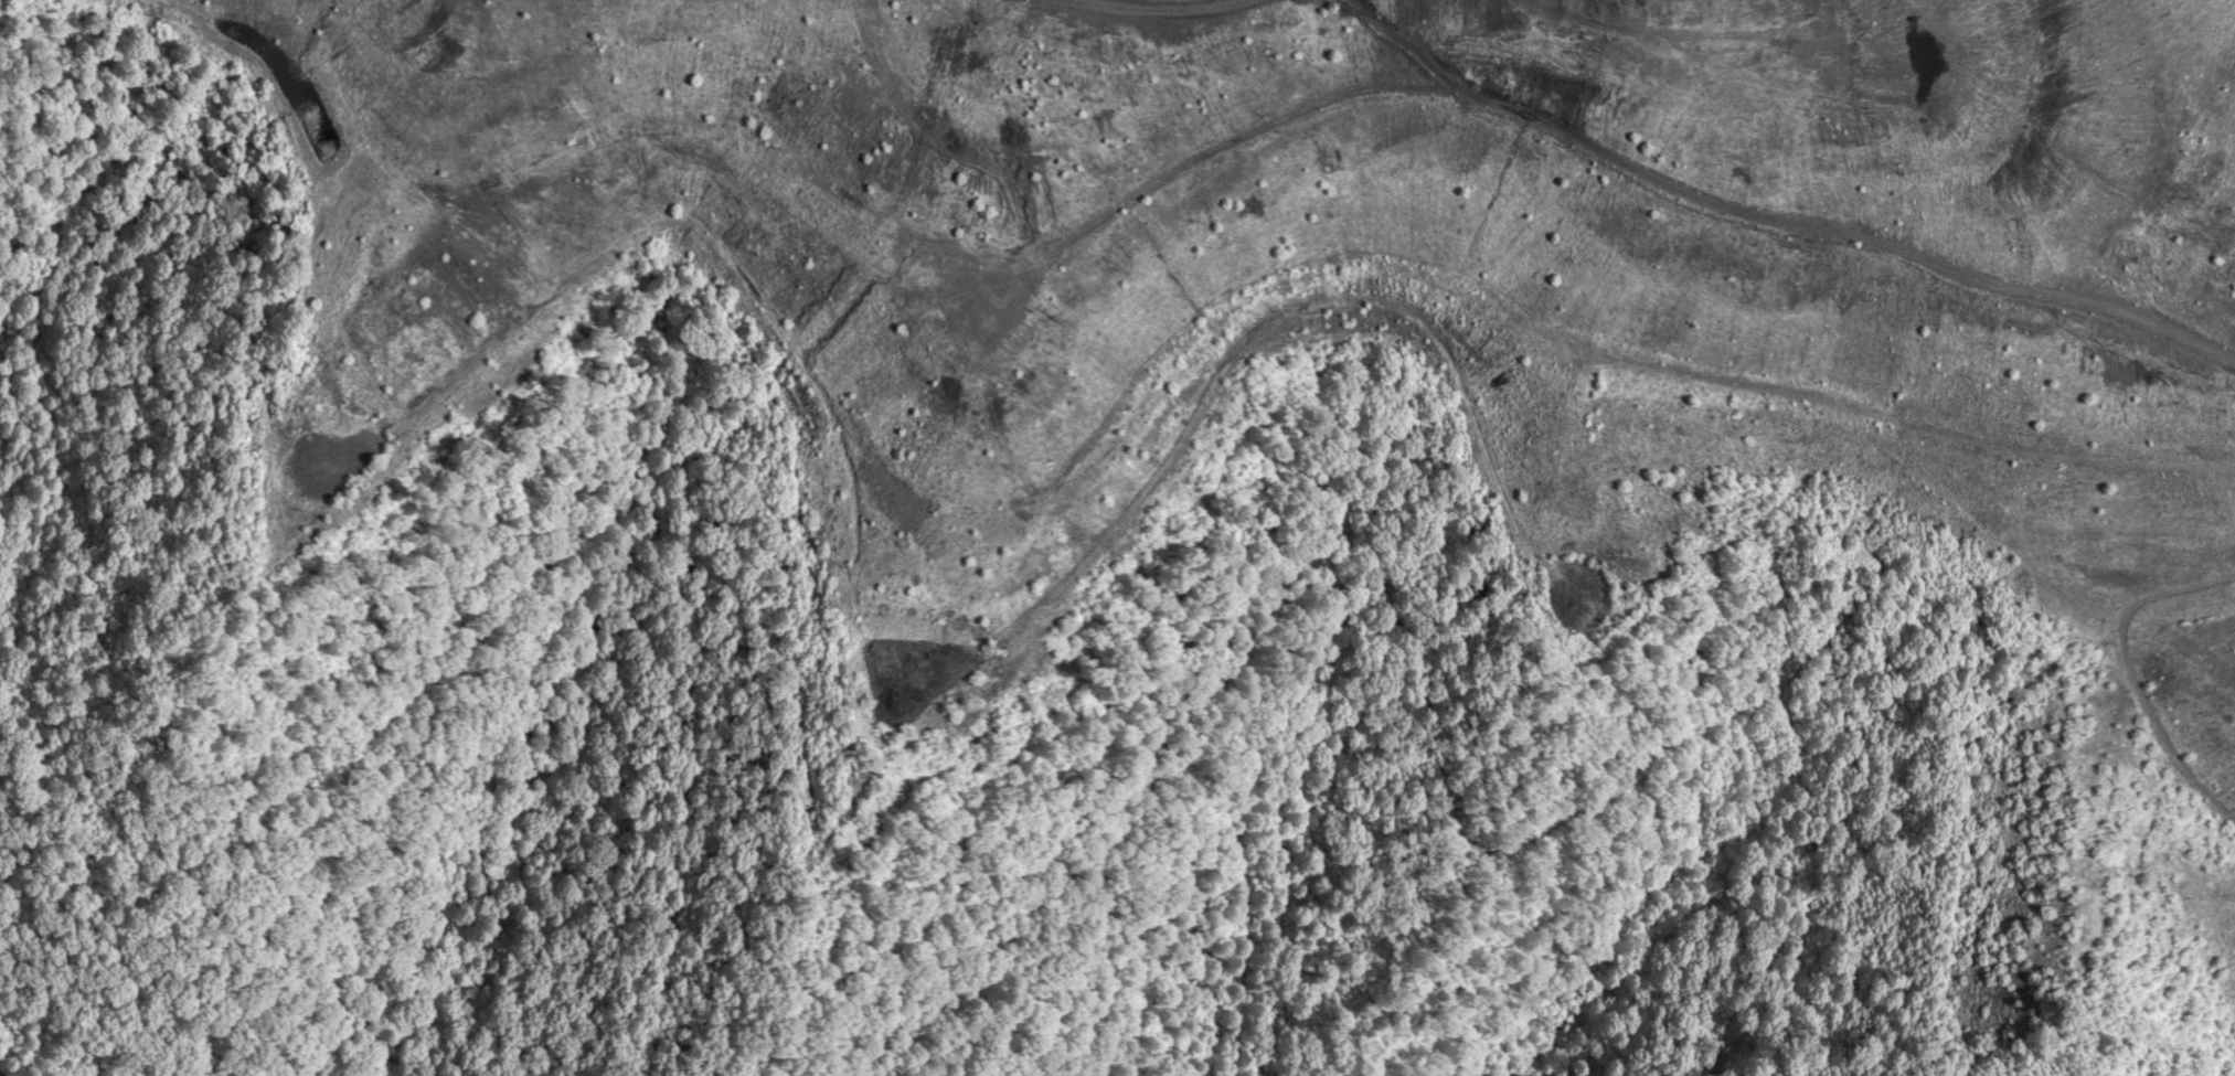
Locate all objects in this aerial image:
quarry: (1562, 351)

